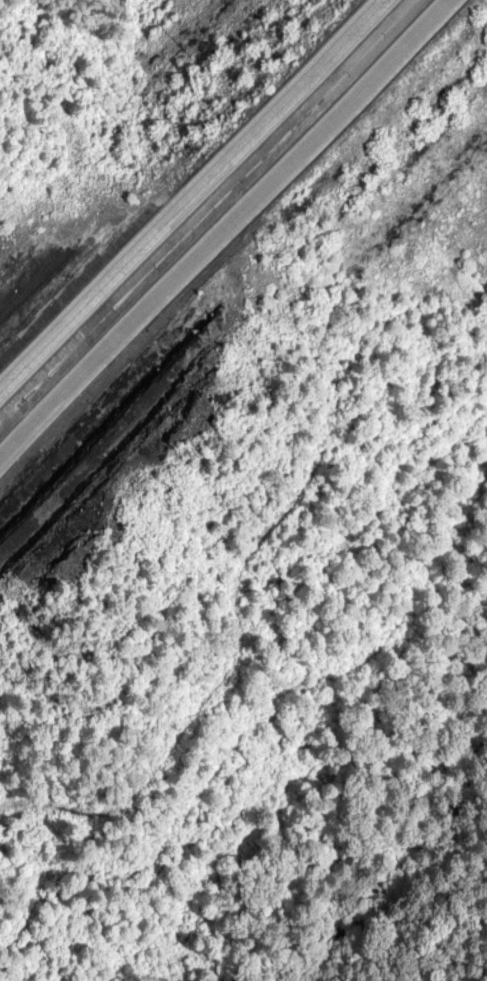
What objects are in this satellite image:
road: (192, 193)
road: (222, 230)
quarry: (33, 275)
quarry: (108, 452)

